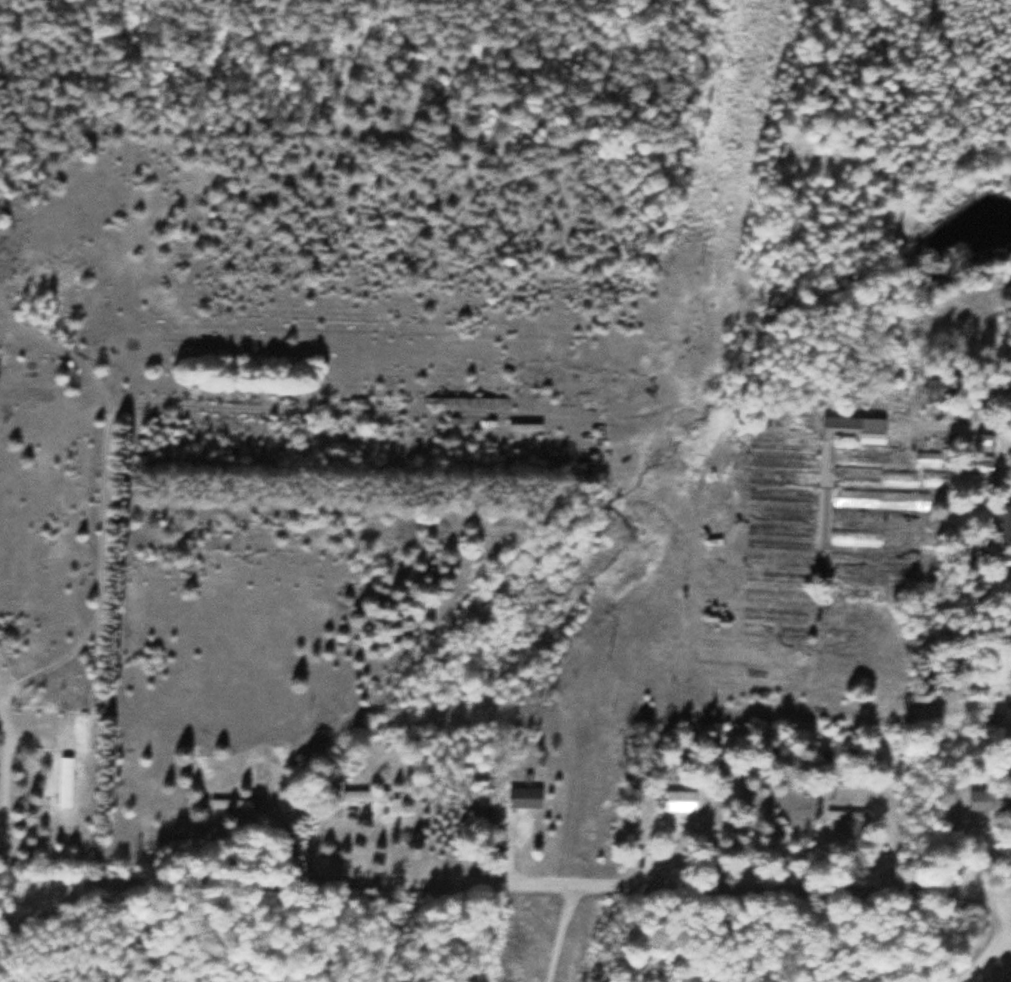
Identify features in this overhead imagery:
building: (943, 389)
building: (927, 461)
building: (861, 474)
building: (964, 475)
building: (1002, 527)
building: (1000, 667)
building: (64, 782)
building: (364, 795)
building: (524, 797)
road: (4, 798)
building: (679, 801)
building: (989, 801)
building: (847, 816)
road: (280, 823)
road: (319, 828)
road: (2, 883)
road: (153, 883)
road: (656, 886)
road: (1007, 937)
road: (984, 962)

